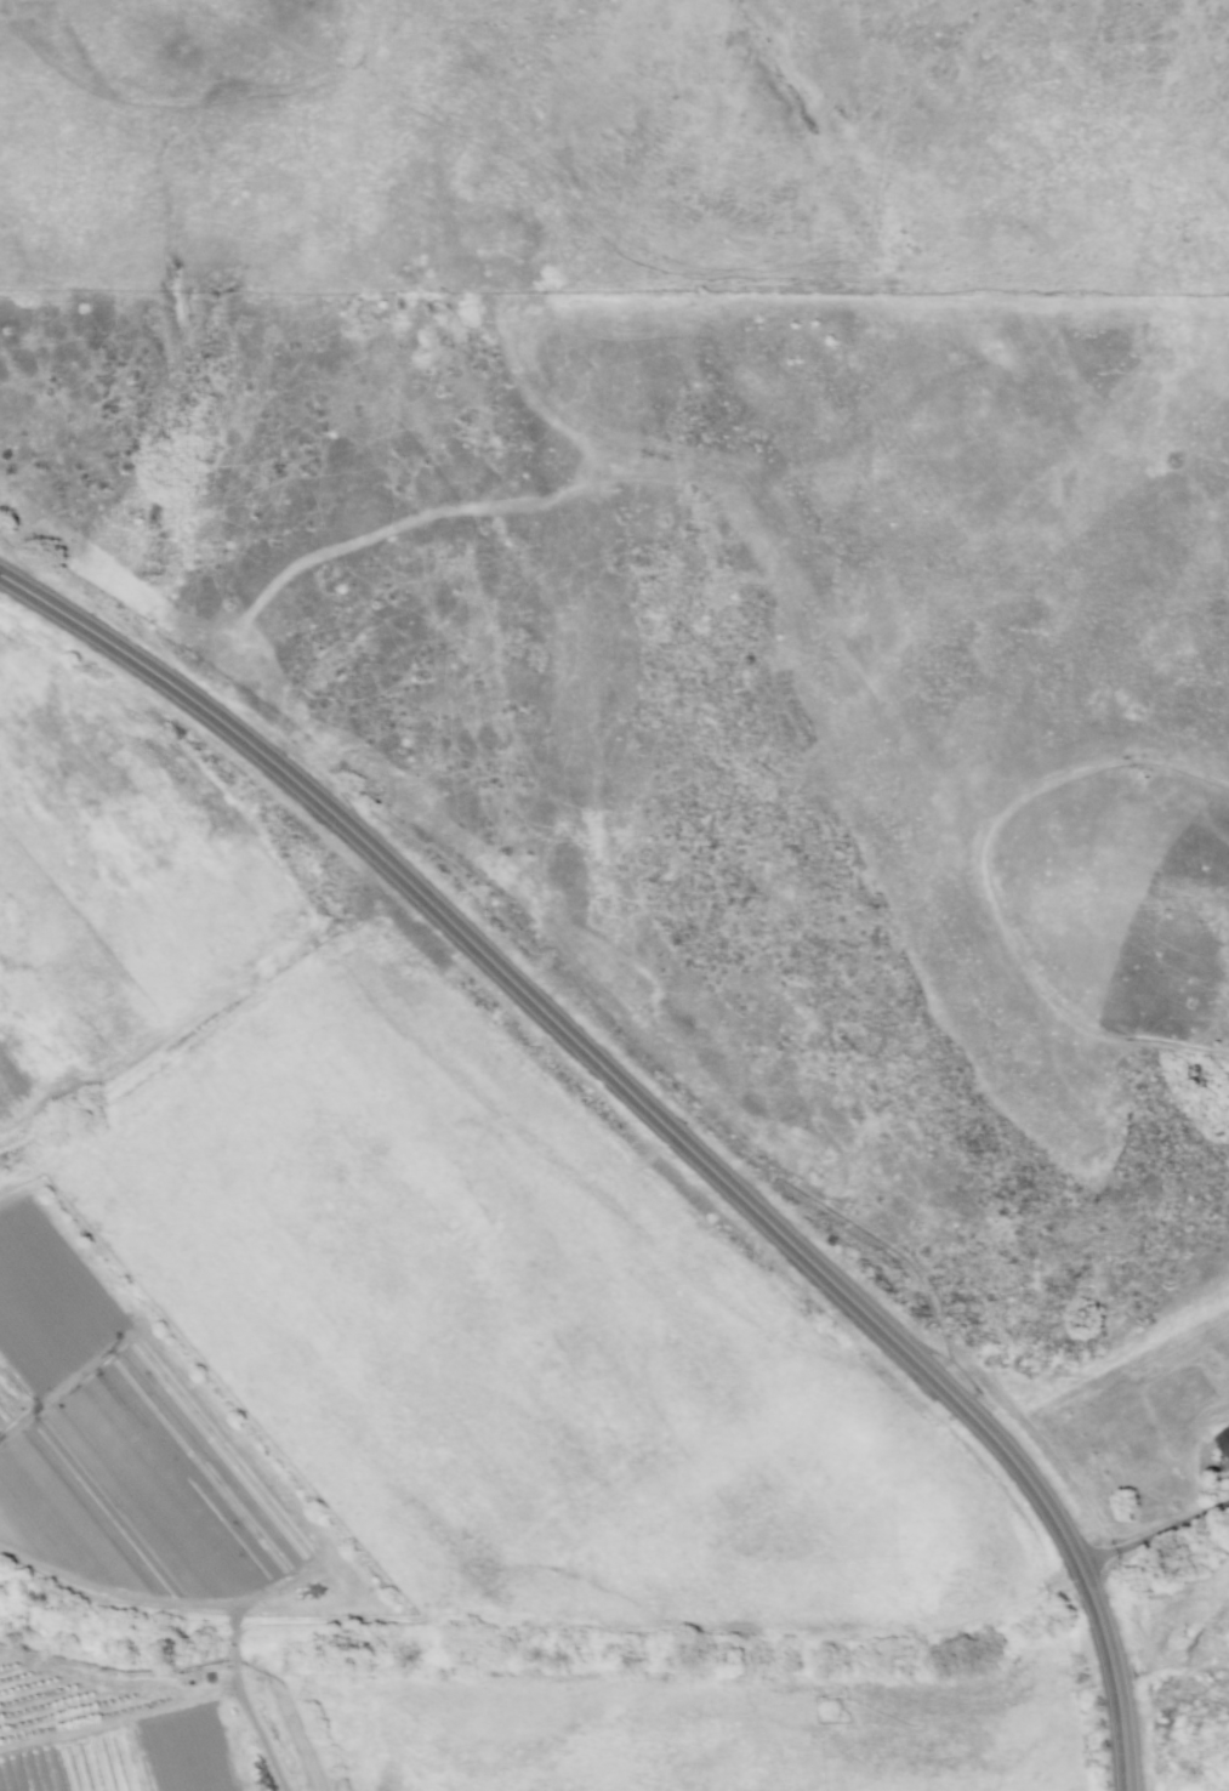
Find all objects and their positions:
crop: (146, 849)
road: (570, 1037)
building: (1223, 1440)
road: (1156, 1535)
road: (1093, 1605)
road: (1121, 1716)
crop: (148, 1729)

